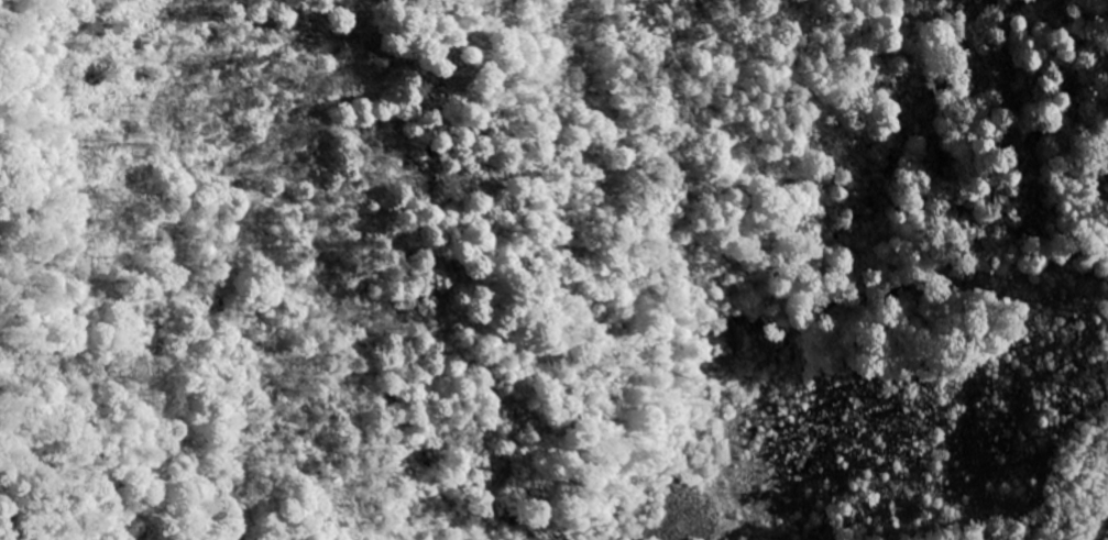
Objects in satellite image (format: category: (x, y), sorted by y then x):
road: (729, 448)

